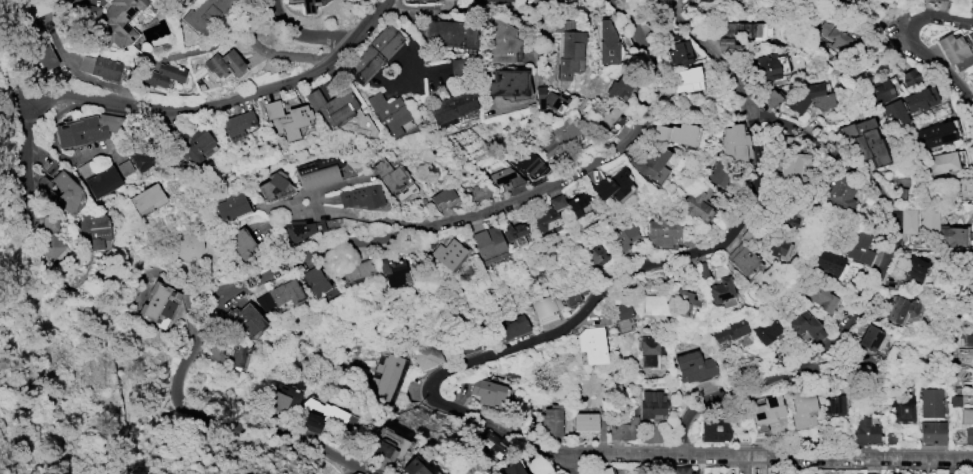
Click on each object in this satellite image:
building: (441, 0)
building: (483, 0)
building: (501, 0)
building: (554, 0)
building: (67, 1)
building: (182, 1)
road: (578, 4)
building: (308, 5)
building: (35, 9)
road: (492, 10)
road: (411, 12)
building: (205, 13)
road: (937, 13)
road: (245, 20)
building: (119, 21)
building: (737, 32)
road: (303, 33)
building: (450, 33)
building: (835, 33)
building: (502, 41)
building: (608, 44)
road: (210, 46)
building: (956, 48)
building: (570, 52)
building: (39, 53)
building: (679, 53)
building: (375, 55)
road: (287, 58)
building: (224, 62)
road: (940, 63)
building: (772, 65)
building: (99, 66)
building: (162, 74)
road: (9, 75)
building: (911, 76)
building: (688, 79)
building: (507, 82)
building: (618, 87)
building: (884, 89)
building: (771, 97)
building: (808, 97)
building: (920, 98)
building: (550, 99)
building: (332, 105)
building: (452, 105)
road: (170, 107)
building: (389, 112)
building: (895, 113)
building: (286, 118)
building: (609, 118)
building: (237, 124)
building: (85, 128)
building: (660, 132)
building: (558, 133)
building: (683, 133)
building: (935, 134)
building: (734, 140)
building: (865, 140)
building: (192, 142)
building: (142, 157)
building: (650, 159)
building: (526, 162)
building: (942, 163)
building: (796, 165)
building: (124, 167)
building: (86, 168)
building: (318, 170)
building: (718, 174)
building: (505, 177)
building: (395, 180)
building: (102, 181)
building: (273, 184)
building: (612, 184)
building: (45, 187)
road: (329, 187)
building: (963, 187)
building: (65, 191)
building: (478, 191)
building: (841, 193)
building: (443, 197)
building: (147, 198)
building: (364, 201)
building: (577, 203)
building: (696, 203)
building: (233, 211)
building: (549, 212)
road: (346, 215)
building: (908, 220)
building: (95, 228)
building: (301, 228)
building: (940, 229)
building: (512, 230)
building: (662, 230)
building: (625, 235)
building: (49, 237)
building: (488, 240)
building: (187, 243)
road: (347, 246)
building: (244, 247)
building: (779, 247)
building: (859, 247)
building: (448, 253)
building: (597, 255)
building: (742, 259)
building: (829, 262)
building: (703, 268)
building: (913, 269)
building: (357, 270)
building: (391, 270)
road: (621, 274)
building: (315, 281)
road: (869, 287)
building: (721, 289)
building: (972, 290)
building: (573, 292)
building: (280, 294)
building: (821, 296)
building: (684, 300)
building: (159, 303)
building: (546, 304)
building: (655, 304)
building: (901, 308)
building: (622, 315)
building: (245, 318)
building: (806, 324)
building: (513, 325)
building: (766, 328)
building: (730, 331)
building: (870, 336)
building: (968, 337)
building: (593, 348)
building: (649, 349)
building: (215, 353)
building: (427, 354)
building: (236, 355)
building: (961, 358)
building: (696, 373)
building: (388, 378)
building: (487, 392)
building: (284, 396)
building: (933, 402)
building: (651, 403)
building: (832, 404)
building: (802, 407)
building: (902, 407)
building: (768, 409)
building: (321, 415)
building: (966, 416)
building: (552, 420)
building: (585, 421)
building: (624, 426)
building: (714, 429)
building: (866, 430)
building: (933, 432)
building: (968, 434)
building: (389, 443)
building: (494, 443)
road: (762, 454)
building: (414, 467)
building: (513, 467)
building: (679, 470)
building: (602, 471)
building: (777, 472)
building: (870, 473)
building: (884, 473)
building: (891, 473)
building: (966, 473)

